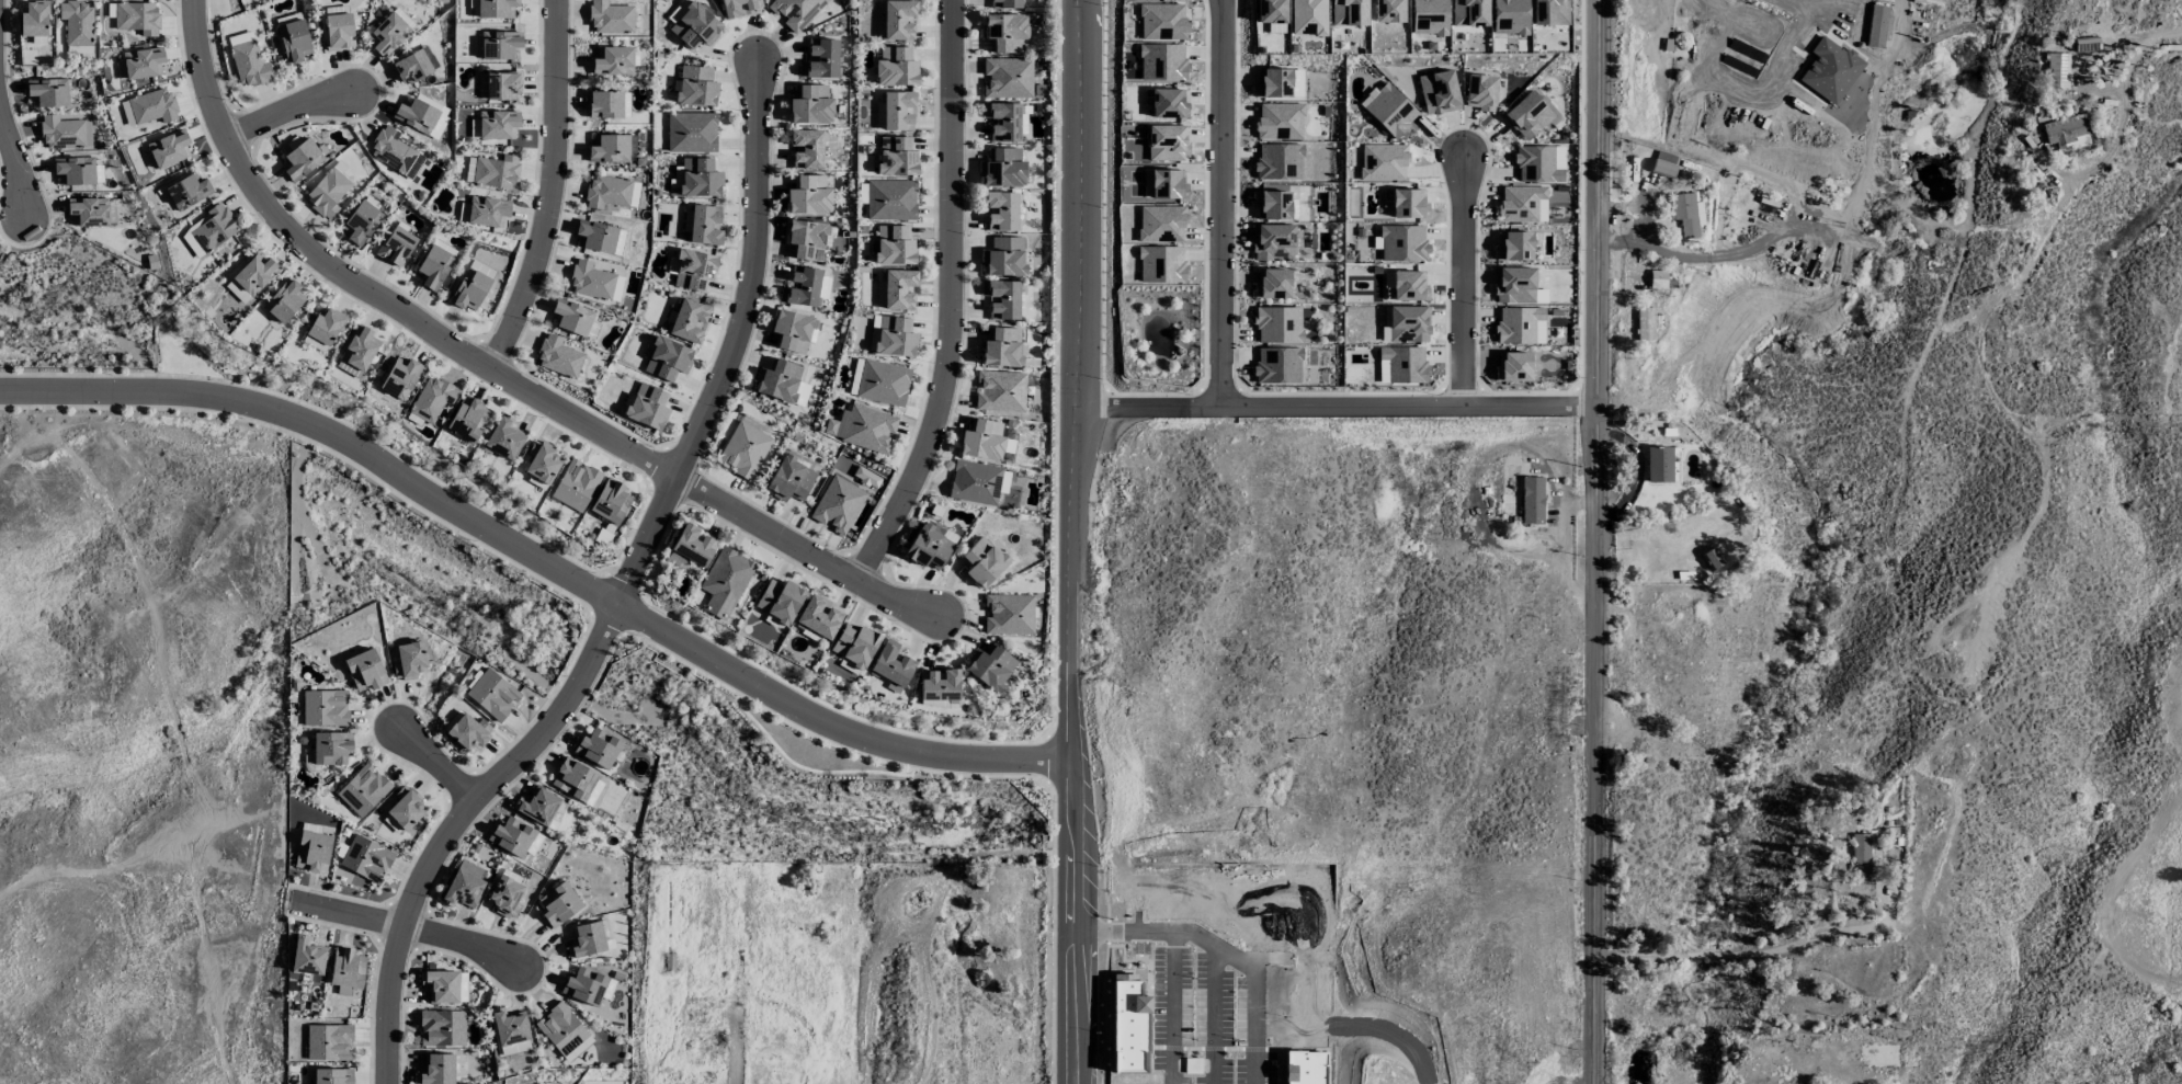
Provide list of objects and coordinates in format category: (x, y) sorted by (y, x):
building: (1927, 1)
building: (1005, 3)
building: (739, 7)
building: (496, 8)
road: (1808, 9)
building: (794, 11)
building: (1270, 11)
building: (1388, 11)
building: (1349, 12)
building: (1468, 12)
building: (1549, 12)
building: (1308, 16)
building: (1429, 16)
building: (1509, 16)
building: (136, 18)
building: (610, 18)
building: (33, 19)
building: (898, 20)
building: (1162, 21)
building: (77, 22)
building: (694, 26)
building: (1876, 26)
building: (338, 32)
building: (1005, 33)
building: (387, 34)
building: (239, 37)
building: (293, 41)
building: (499, 44)
building: (820, 58)
building: (612, 60)
building: (143, 62)
building: (1161, 62)
building: (249, 64)
building: (410, 67)
building: (895, 67)
building: (1830, 70)
building: (2056, 70)
building: (1008, 78)
building: (1273, 83)
building: (502, 85)
building: (695, 87)
building: (48, 92)
building: (1439, 92)
building: (1480, 92)
road: (2117, 98)
building: (1168, 103)
building: (607, 104)
building: (810, 105)
building: (152, 106)
building: (897, 110)
building: (1390, 111)
road: (288, 112)
building: (416, 115)
building: (1527, 115)
building: (1002, 121)
building: (1280, 122)
building: (498, 124)
building: (65, 133)
building: (691, 133)
building: (2066, 133)
building: (1167, 142)
building: (168, 148)
building: (611, 148)
building: (395, 152)
building: (896, 156)
building: (302, 159)
road: (15, 161)
building: (1278, 161)
building: (1383, 162)
building: (1539, 163)
building: (1002, 168)
building: (1662, 168)
building: (469, 169)
building: (73, 170)
building: (496, 171)
building: (700, 178)
building: (1164, 184)
road: (550, 190)
building: (187, 191)
road: (10, 192)
building: (606, 192)
building: (327, 193)
building: (634, 194)
building: (808, 195)
building: (890, 199)
road: (1220, 201)
building: (1408, 203)
building: (1522, 204)
building: (1272, 205)
building: (1000, 210)
building: (90, 212)
building: (488, 212)
building: (1684, 213)
building: (1698, 213)
building: (360, 222)
building: (1161, 224)
building: (704, 225)
building: (208, 230)
building: (595, 237)
building: (806, 240)
building: (1272, 242)
building: (1402, 243)
building: (396, 246)
building: (1513, 246)
park: (2, 250)
building: (1003, 258)
building: (1161, 264)
building: (433, 267)
building: (481, 269)
building: (254, 274)
building: (1657, 279)
building: (590, 281)
building: (1272, 283)
road: (1462, 283)
building: (1409, 285)
building: (1513, 285)
building: (800, 287)
building: (823, 287)
building: (469, 289)
building: (899, 289)
building: (237, 292)
building: (1541, 295)
building: (1001, 299)
building: (283, 300)
road: (950, 301)
building: (571, 317)
building: (686, 321)
building: (1408, 323)
building: (1647, 323)
building: (1277, 324)
building: (325, 326)
building: (1520, 326)
building: (791, 331)
building: (895, 336)
building: (314, 343)
building: (359, 347)
building: (1002, 347)
building: (557, 356)
building: (667, 360)
road: (1056, 360)
building: (1277, 365)
building: (1513, 366)
building: (348, 368)
road: (496, 373)
building: (399, 377)
building: (853, 381)
building: (782, 383)
building: (883, 383)
building: (1000, 391)
building: (431, 399)
road: (1144, 402)
road: (1407, 403)
building: (647, 406)
road: (316, 409)
building: (468, 419)
building: (754, 423)
building: (868, 429)
building: (503, 438)
building: (982, 440)
road: (311, 443)
building: (743, 450)
building: (541, 461)
building: (1658, 464)
building: (1675, 464)
road: (1635, 470)
building: (792, 476)
building: (866, 477)
building: (974, 482)
building: (575, 486)
building: (1532, 500)
building: (611, 502)
building: (838, 504)
road: (1067, 541)
road: (1595, 541)
building: (930, 546)
building: (690, 547)
road: (537, 557)
building: (982, 562)
road: (616, 571)
road: (626, 581)
building: (724, 582)
road: (596, 590)
road: (621, 595)
building: (780, 600)
road: (589, 603)
road: (646, 604)
building: (1009, 614)
road: (638, 616)
building: (818, 618)
road: (606, 627)
road: (632, 630)
building: (854, 644)
building: (409, 660)
building: (891, 665)
building: (989, 666)
building: (364, 670)
building: (492, 695)
road: (830, 707)
building: (325, 708)
road: (1057, 726)
building: (465, 731)
road: (822, 739)
building: (331, 748)
building: (600, 748)
park: (811, 751)
road: (1049, 760)
road: (439, 766)
road: (809, 768)
road: (1036, 774)
building: (363, 790)
building: (537, 806)
building: (406, 808)
building: (514, 837)
building: (311, 852)
building: (1860, 854)
building: (365, 858)
building: (463, 885)
building: (505, 897)
building: (558, 904)
road: (408, 928)
road: (1053, 938)
building: (586, 939)
road: (1212, 951)
road: (1755, 952)
building: (306, 958)
building: (345, 968)
building: (583, 985)
building: (441, 986)
building: (509, 1027)
building: (441, 1028)
building: (564, 1031)
building: (328, 1042)
building: (435, 1070)
building: (332, 1076)

